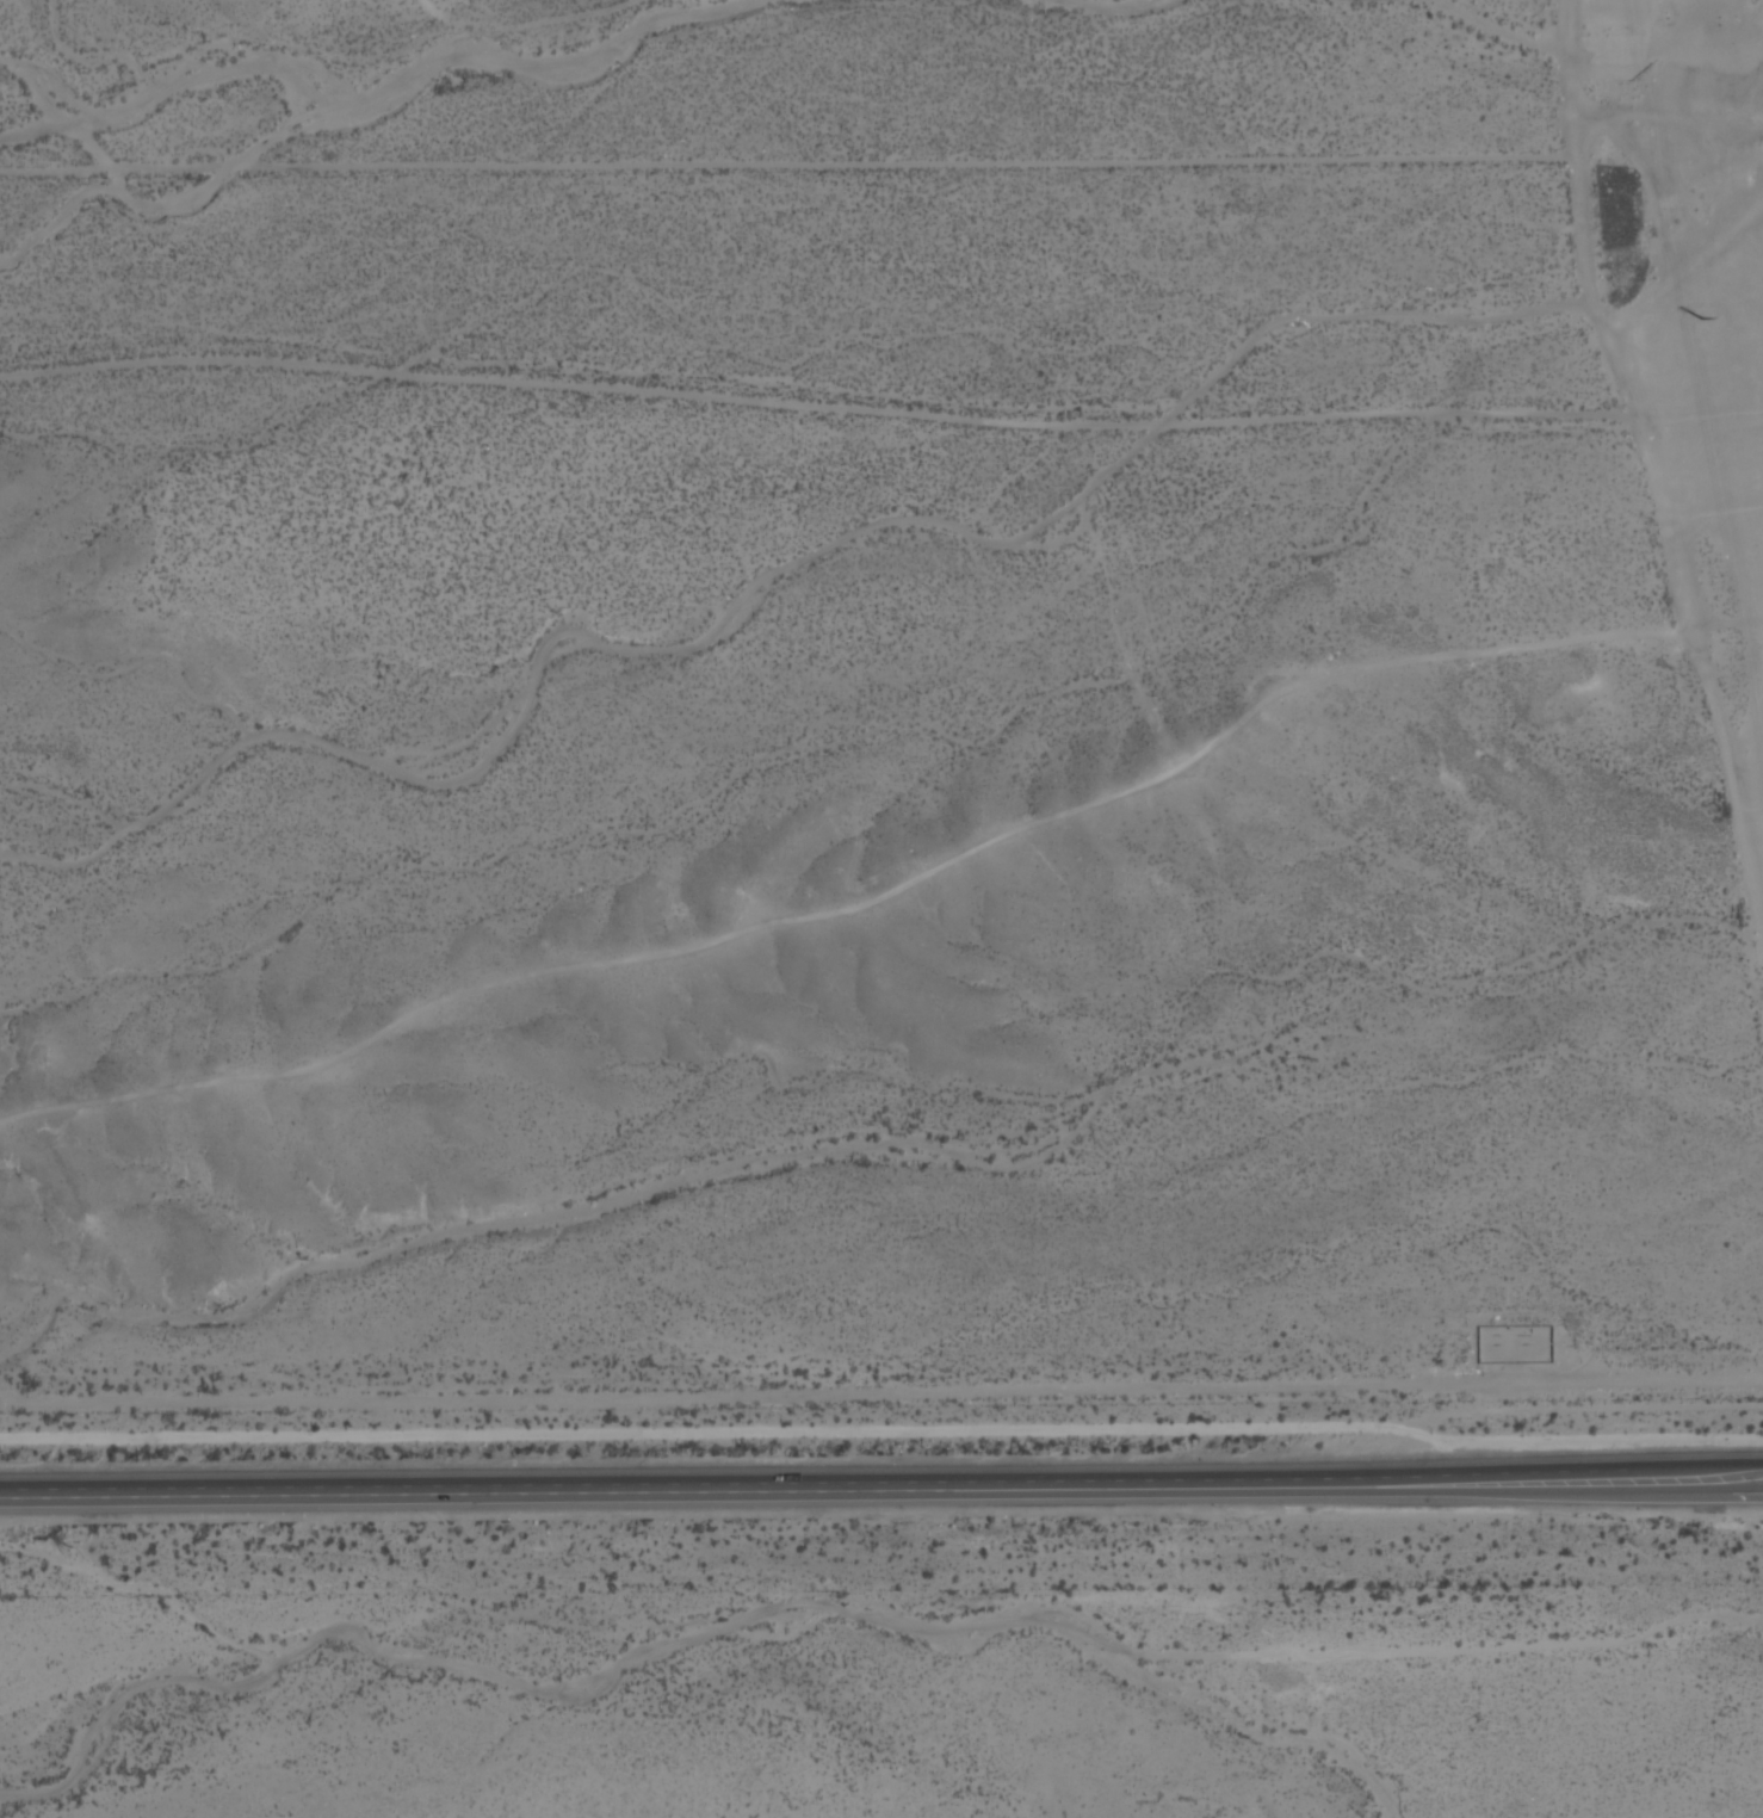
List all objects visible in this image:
power tower: (1705, 322)
road: (881, 1486)

